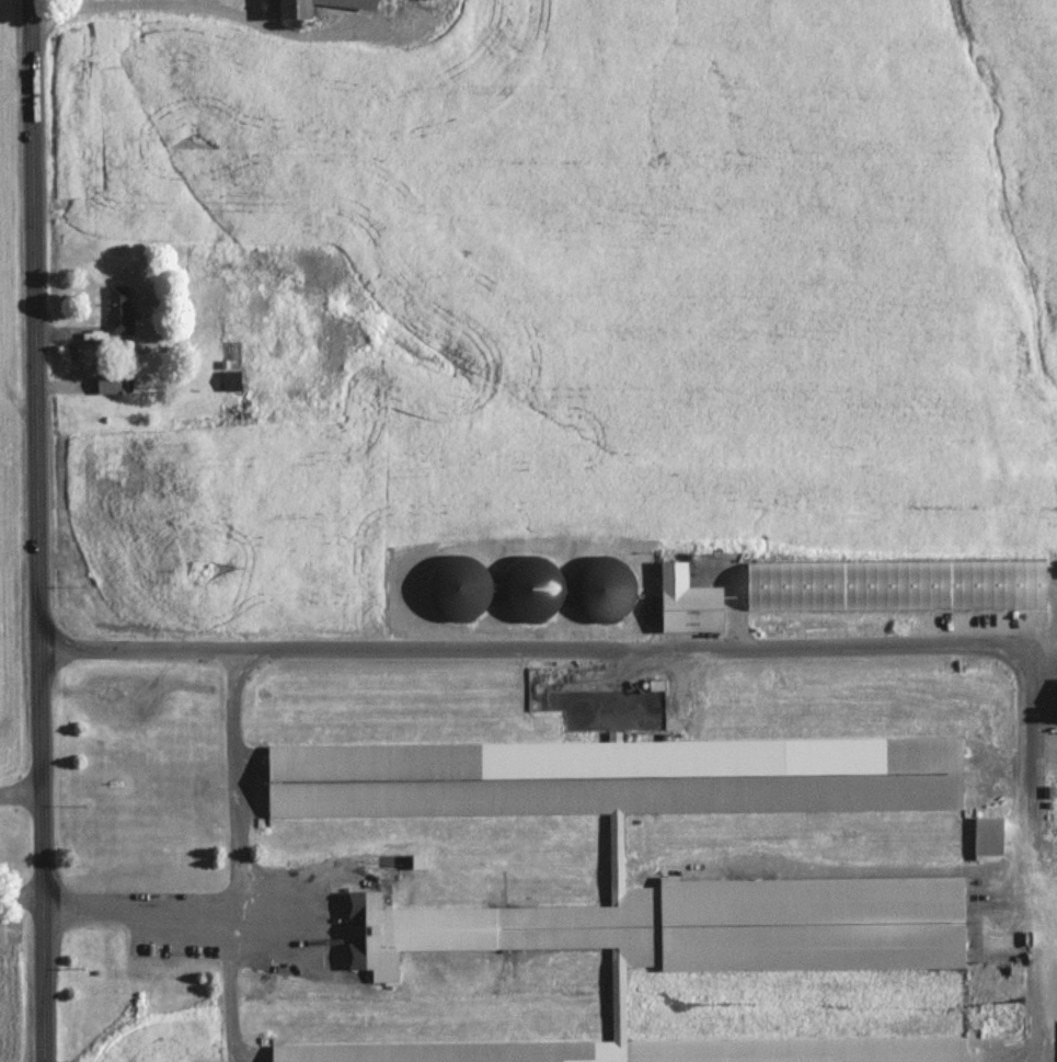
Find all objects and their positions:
building: (422, 0)
building: (315, 7)
road: (219, 9)
building: (119, 311)
building: (230, 381)
building: (107, 386)
road: (37, 530)
building: (530, 590)
building: (459, 591)
building: (601, 591)
building: (686, 604)
road: (548, 648)
building: (612, 778)
road: (20, 790)
road: (1026, 812)
road: (235, 867)
road: (21, 893)
building: (716, 925)
road: (227, 983)
building: (636, 1050)

